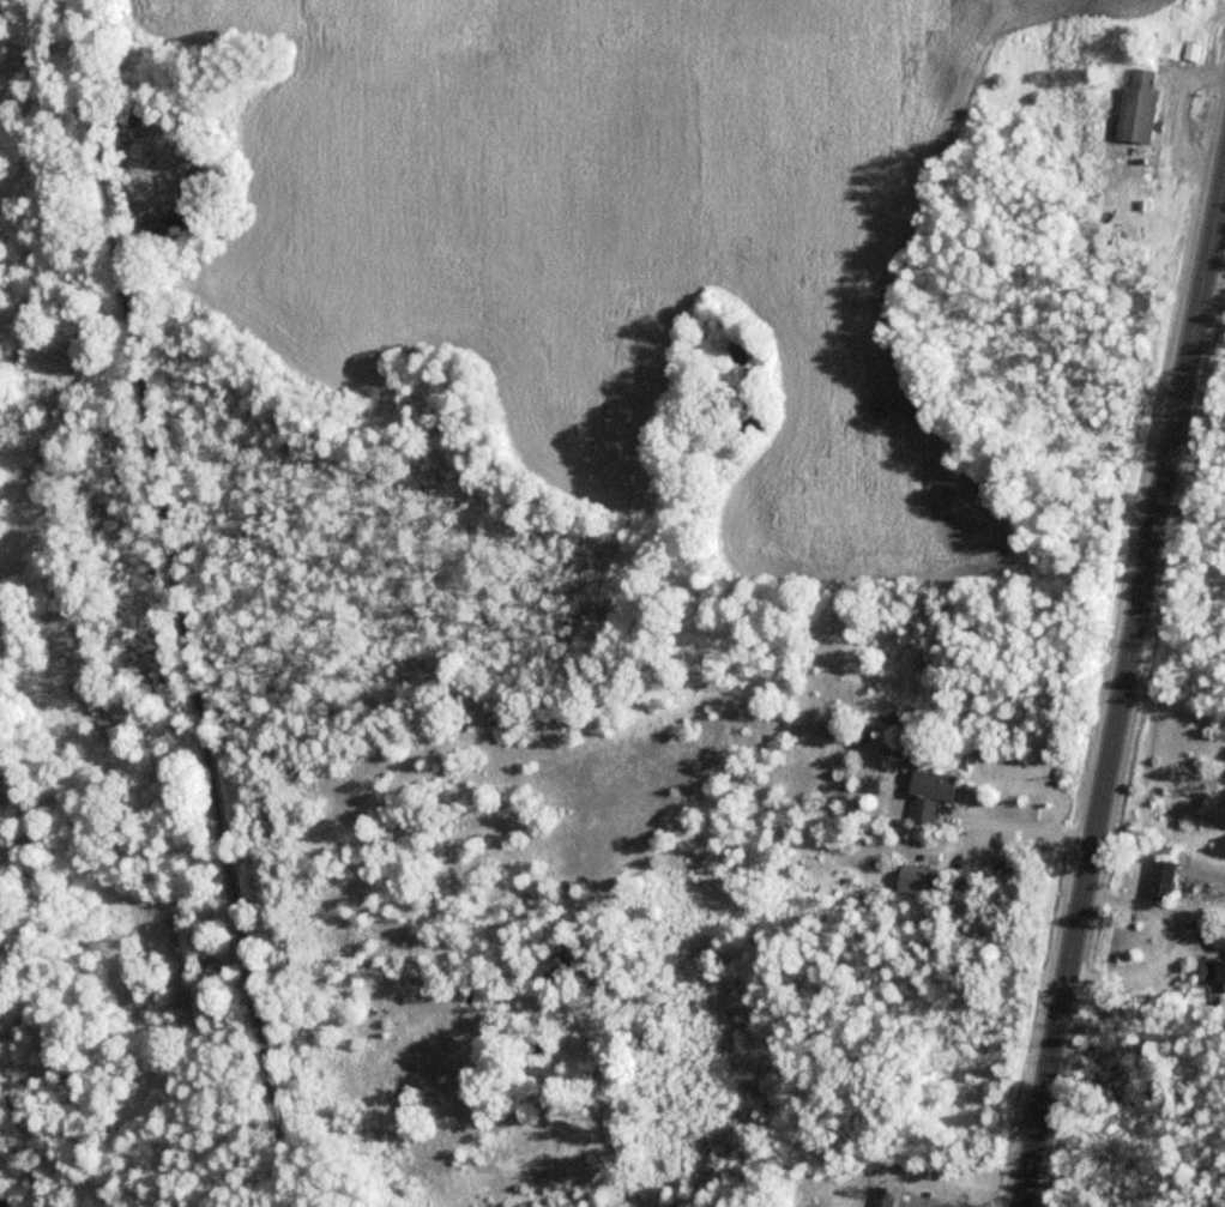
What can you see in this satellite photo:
building: (1188, 50)
building: (1133, 107)
road: (1153, 509)
road: (177, 603)
building: (925, 795)
road: (1021, 826)
building: (915, 881)
building: (1158, 881)
building: (1217, 939)
building: (1212, 974)
road: (1049, 1033)
building: (877, 1196)
road: (929, 1202)

